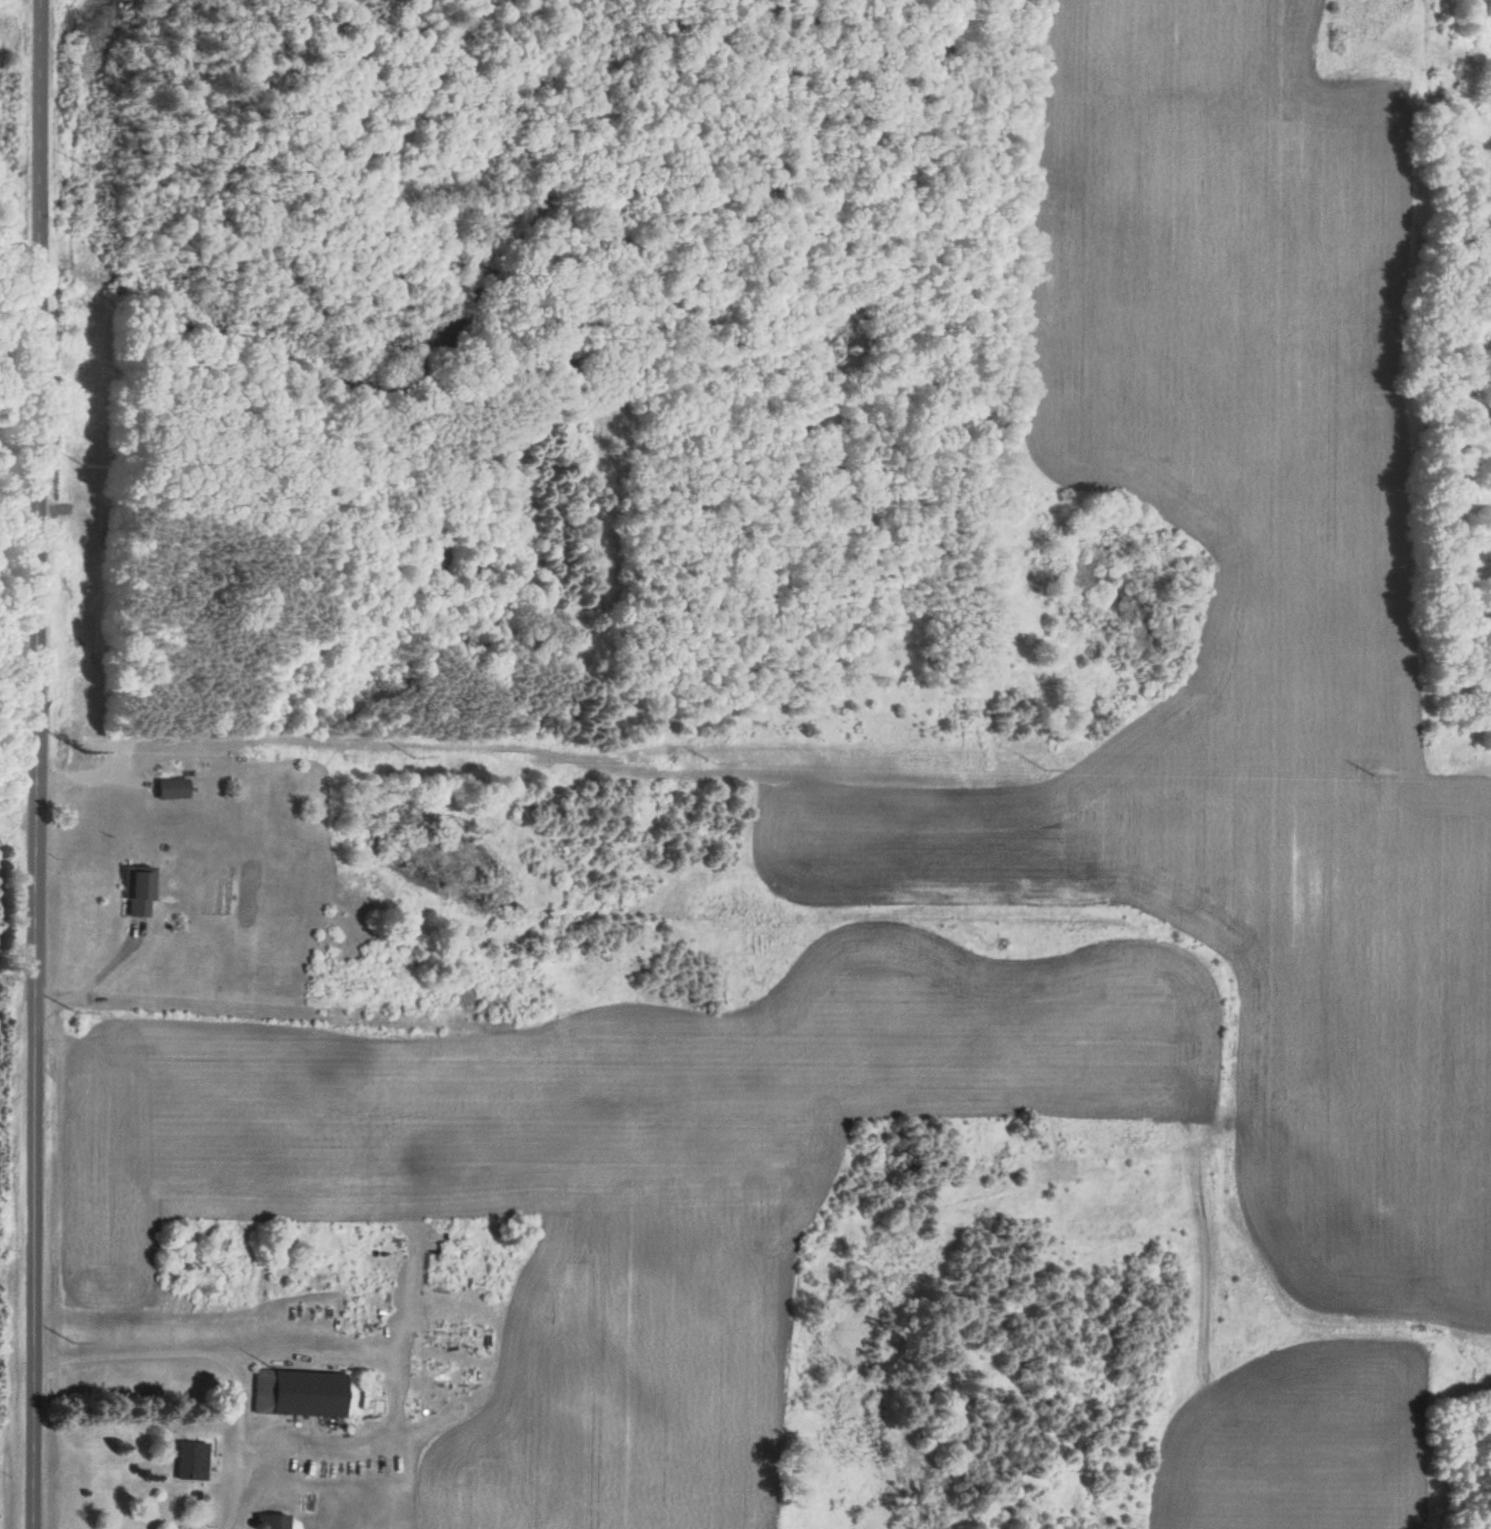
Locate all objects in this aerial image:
power tower: (81, 749)
road: (35, 764)
building: (172, 787)
building: (139, 889)
building: (299, 1392)
building: (191, 1459)
building: (271, 1521)

